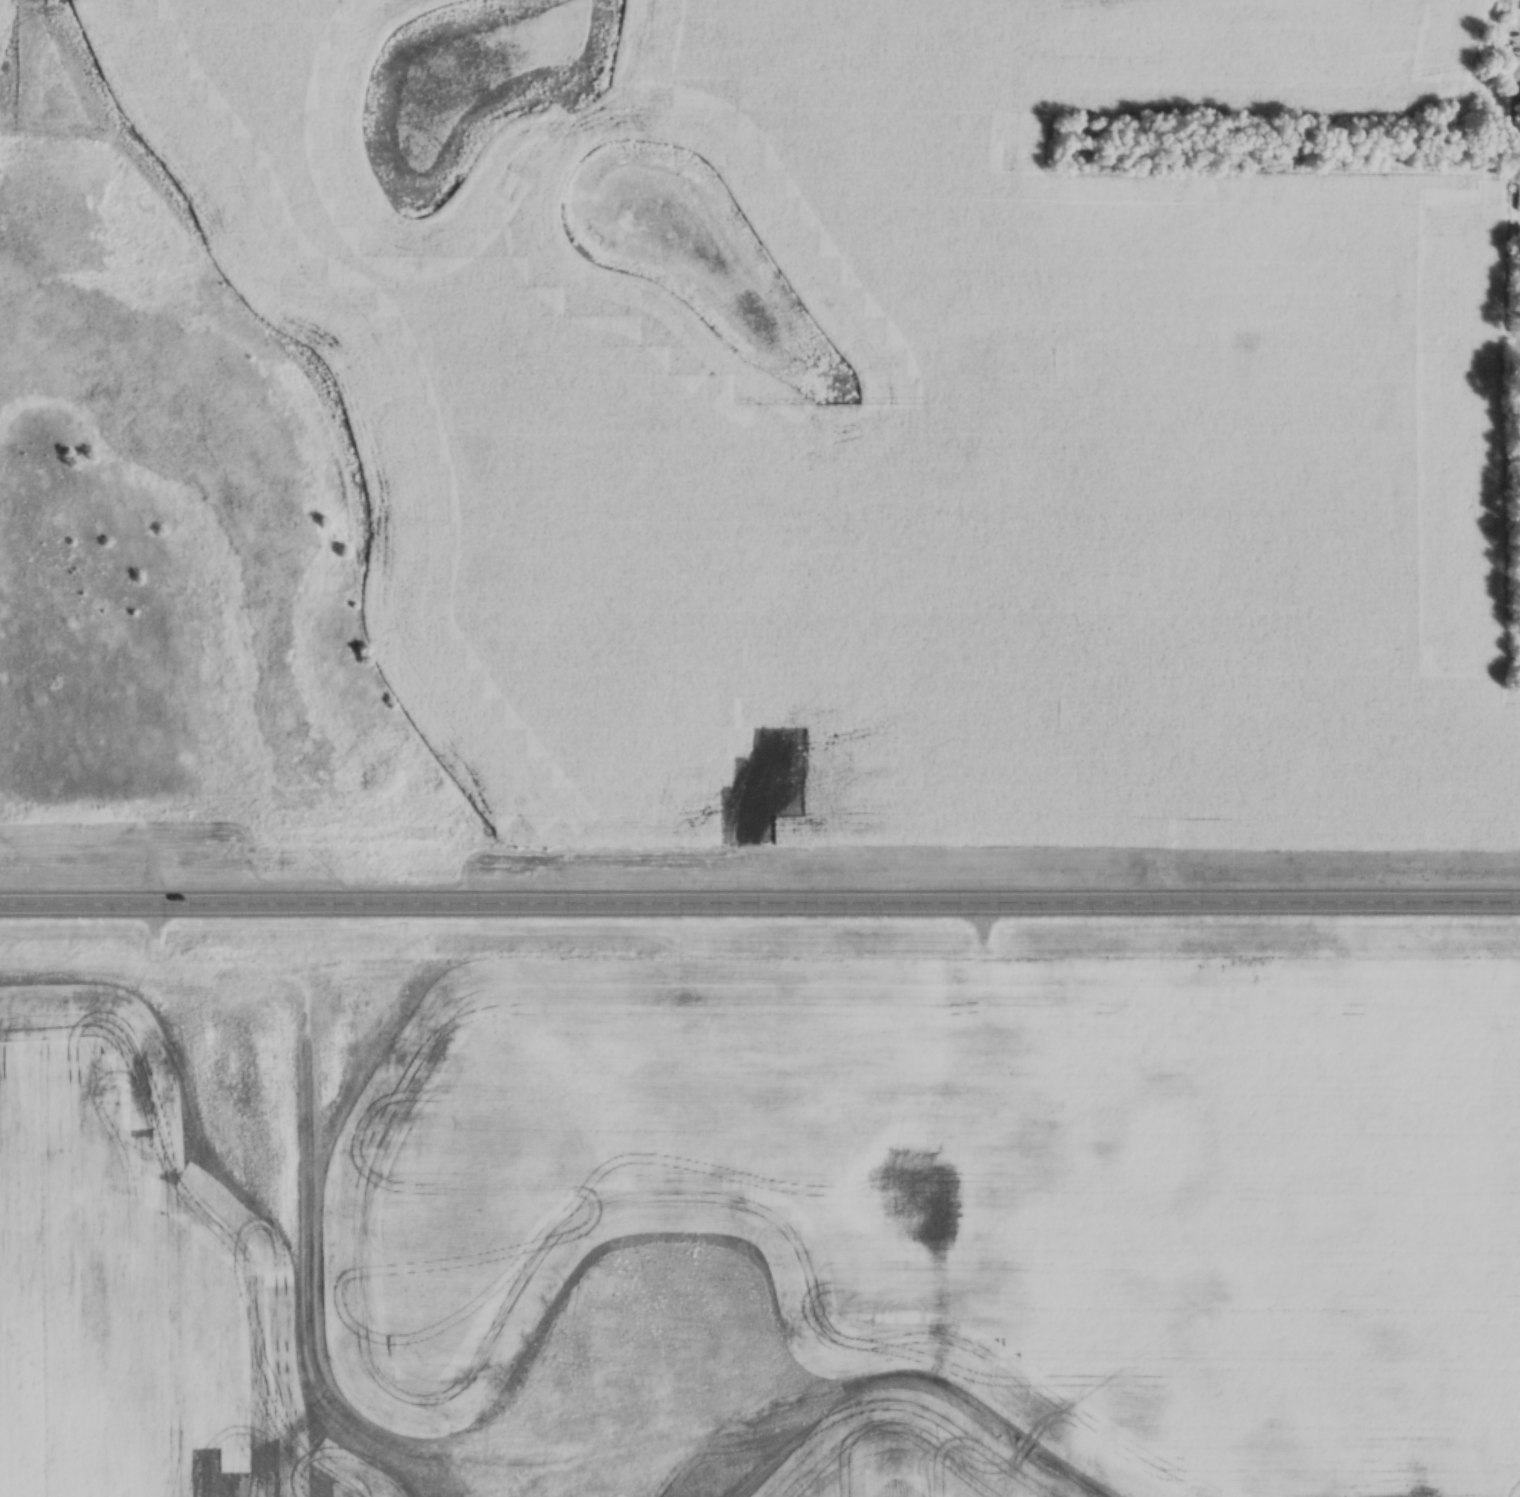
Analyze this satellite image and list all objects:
road: (760, 900)

